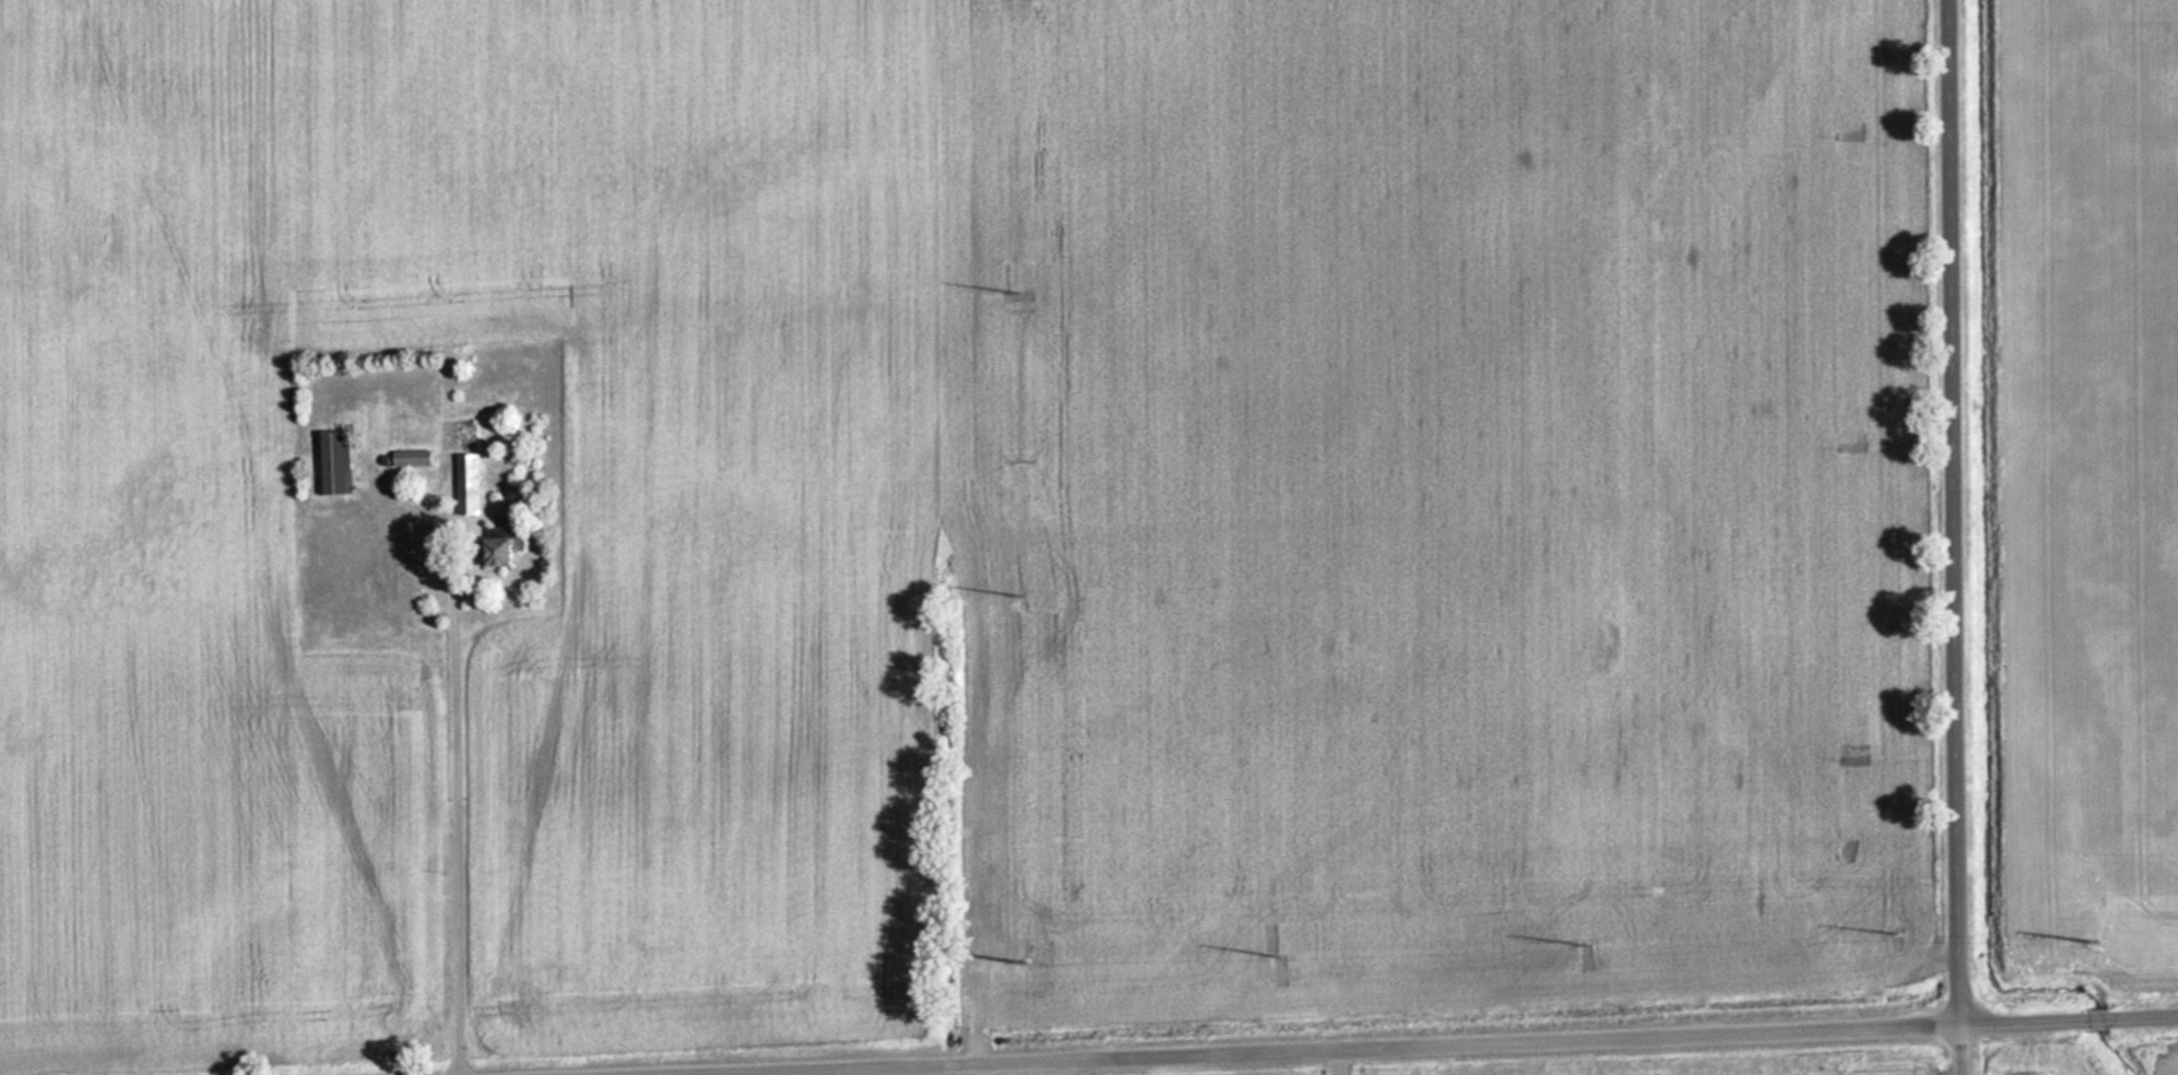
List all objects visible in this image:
power tower: (1015, 297)
building: (336, 464)
building: (465, 484)
road: (1961, 537)
building: (492, 547)
power tower: (1020, 595)
power tower: (1895, 931)
power tower: (2098, 938)
power tower: (1582, 947)
power tower: (1270, 960)
power tower: (1023, 961)
road: (1376, 1044)
road: (1347, 1060)

